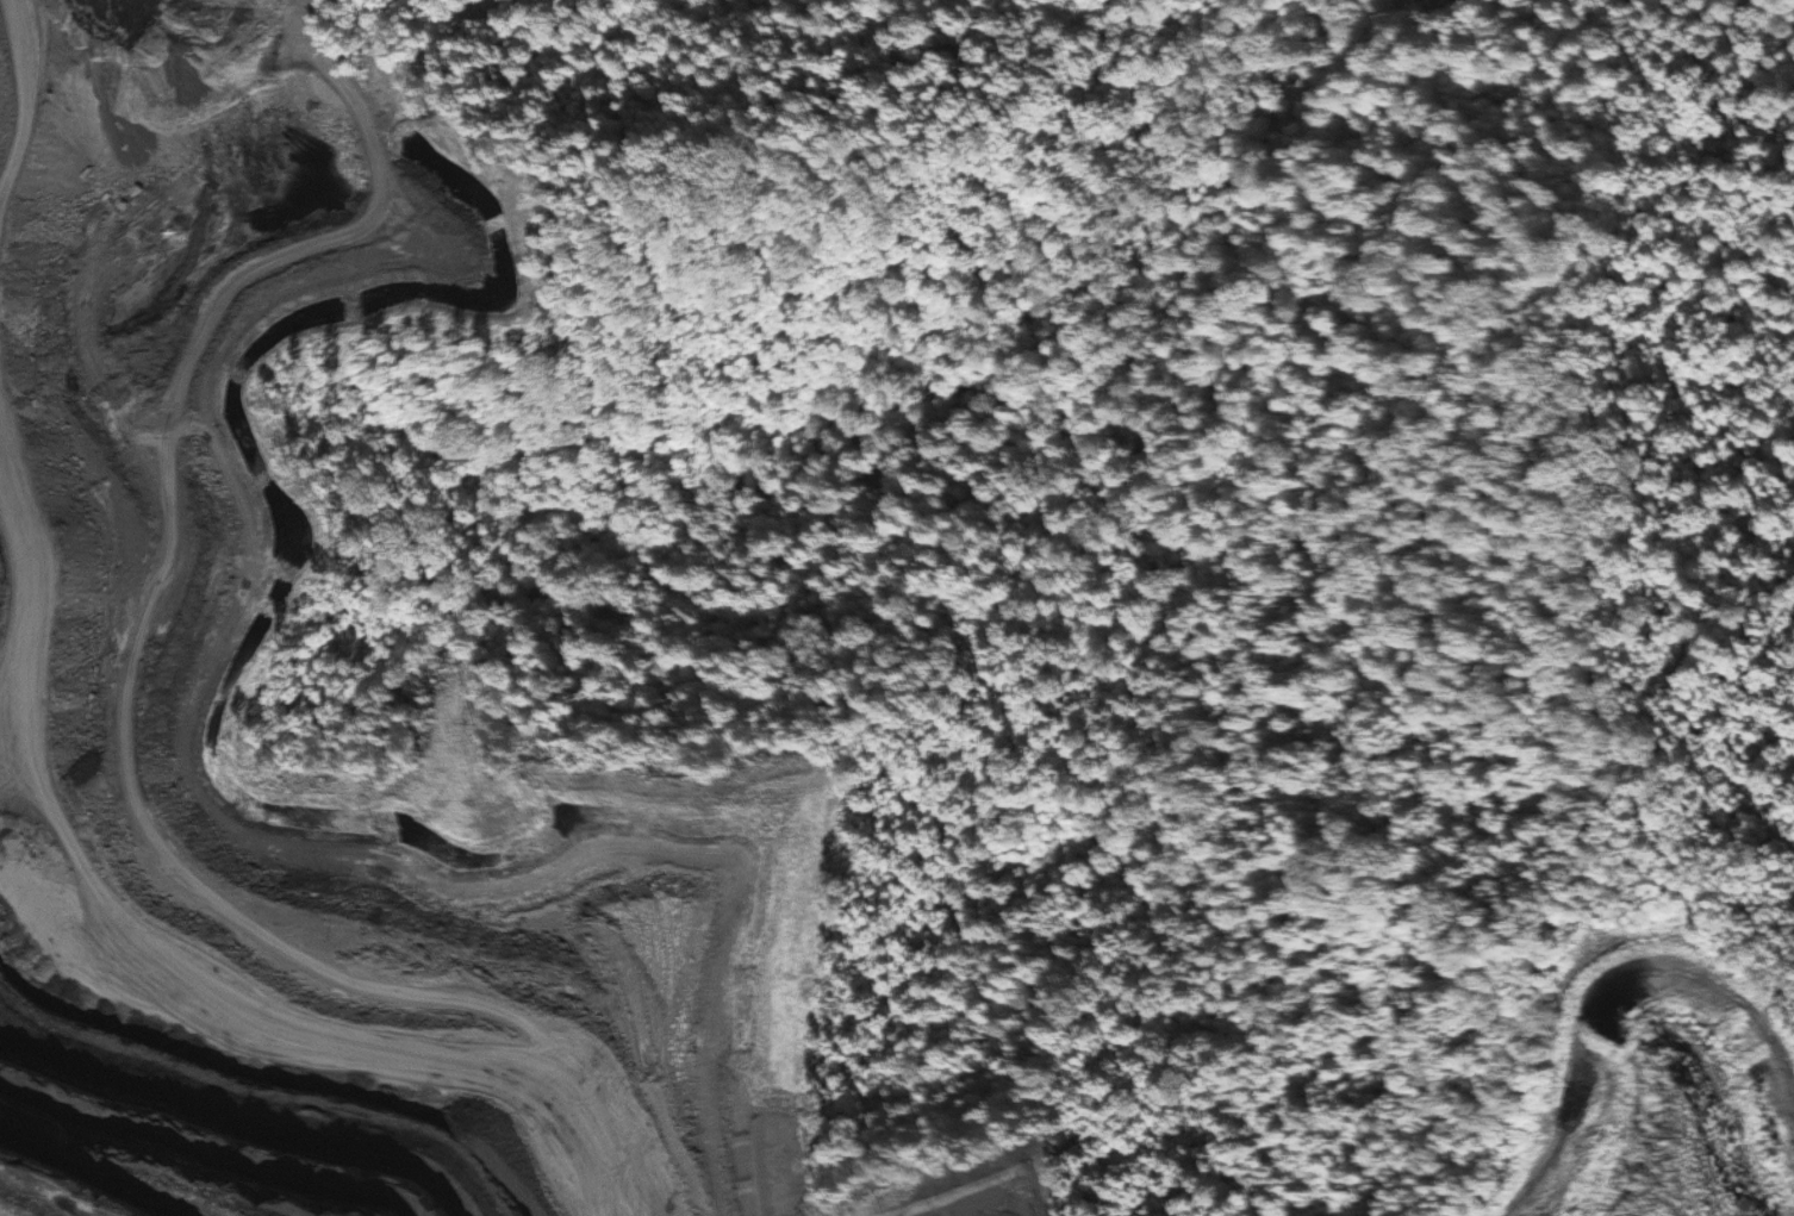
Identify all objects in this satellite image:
quarry: (126, 592)
quarry: (1674, 1145)
quarry: (1045, 1215)

